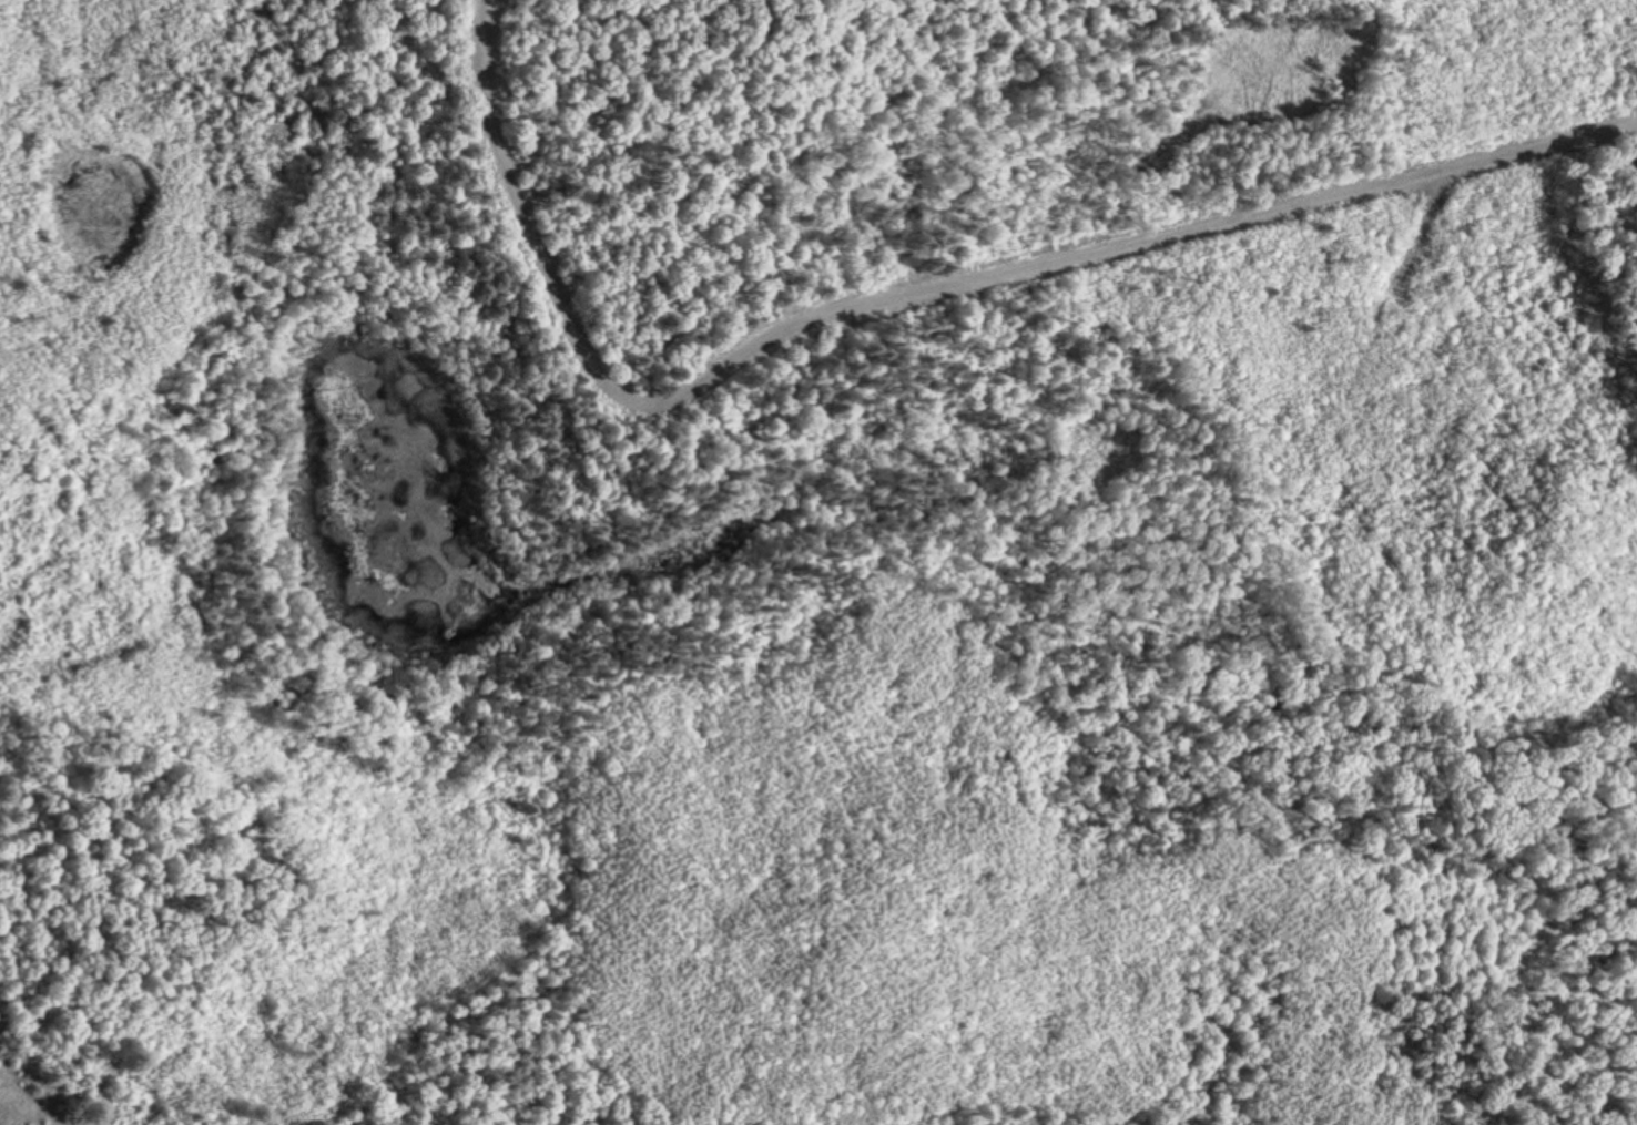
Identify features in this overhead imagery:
road: (908, 294)

